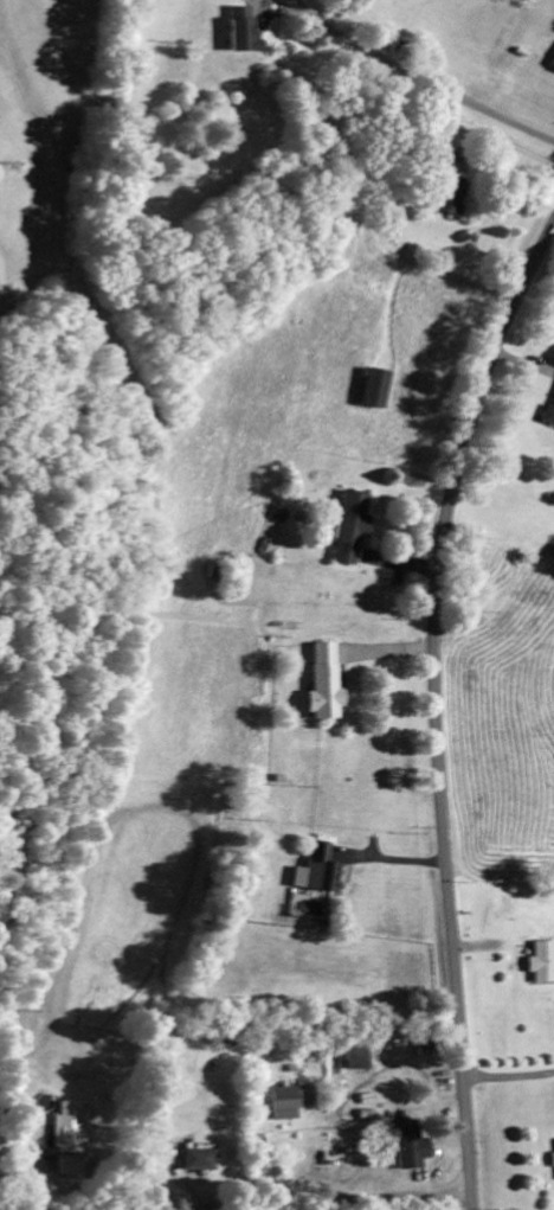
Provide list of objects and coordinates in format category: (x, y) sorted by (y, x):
building: (247, 33)
building: (455, 198)
building: (376, 391)
building: (549, 418)
building: (353, 530)
building: (328, 686)
road: (434, 706)
building: (321, 873)
building: (543, 965)
building: (362, 1061)
building: (294, 1103)
building: (72, 1139)
building: (413, 1147)
building: (202, 1161)
road: (314, 1201)

